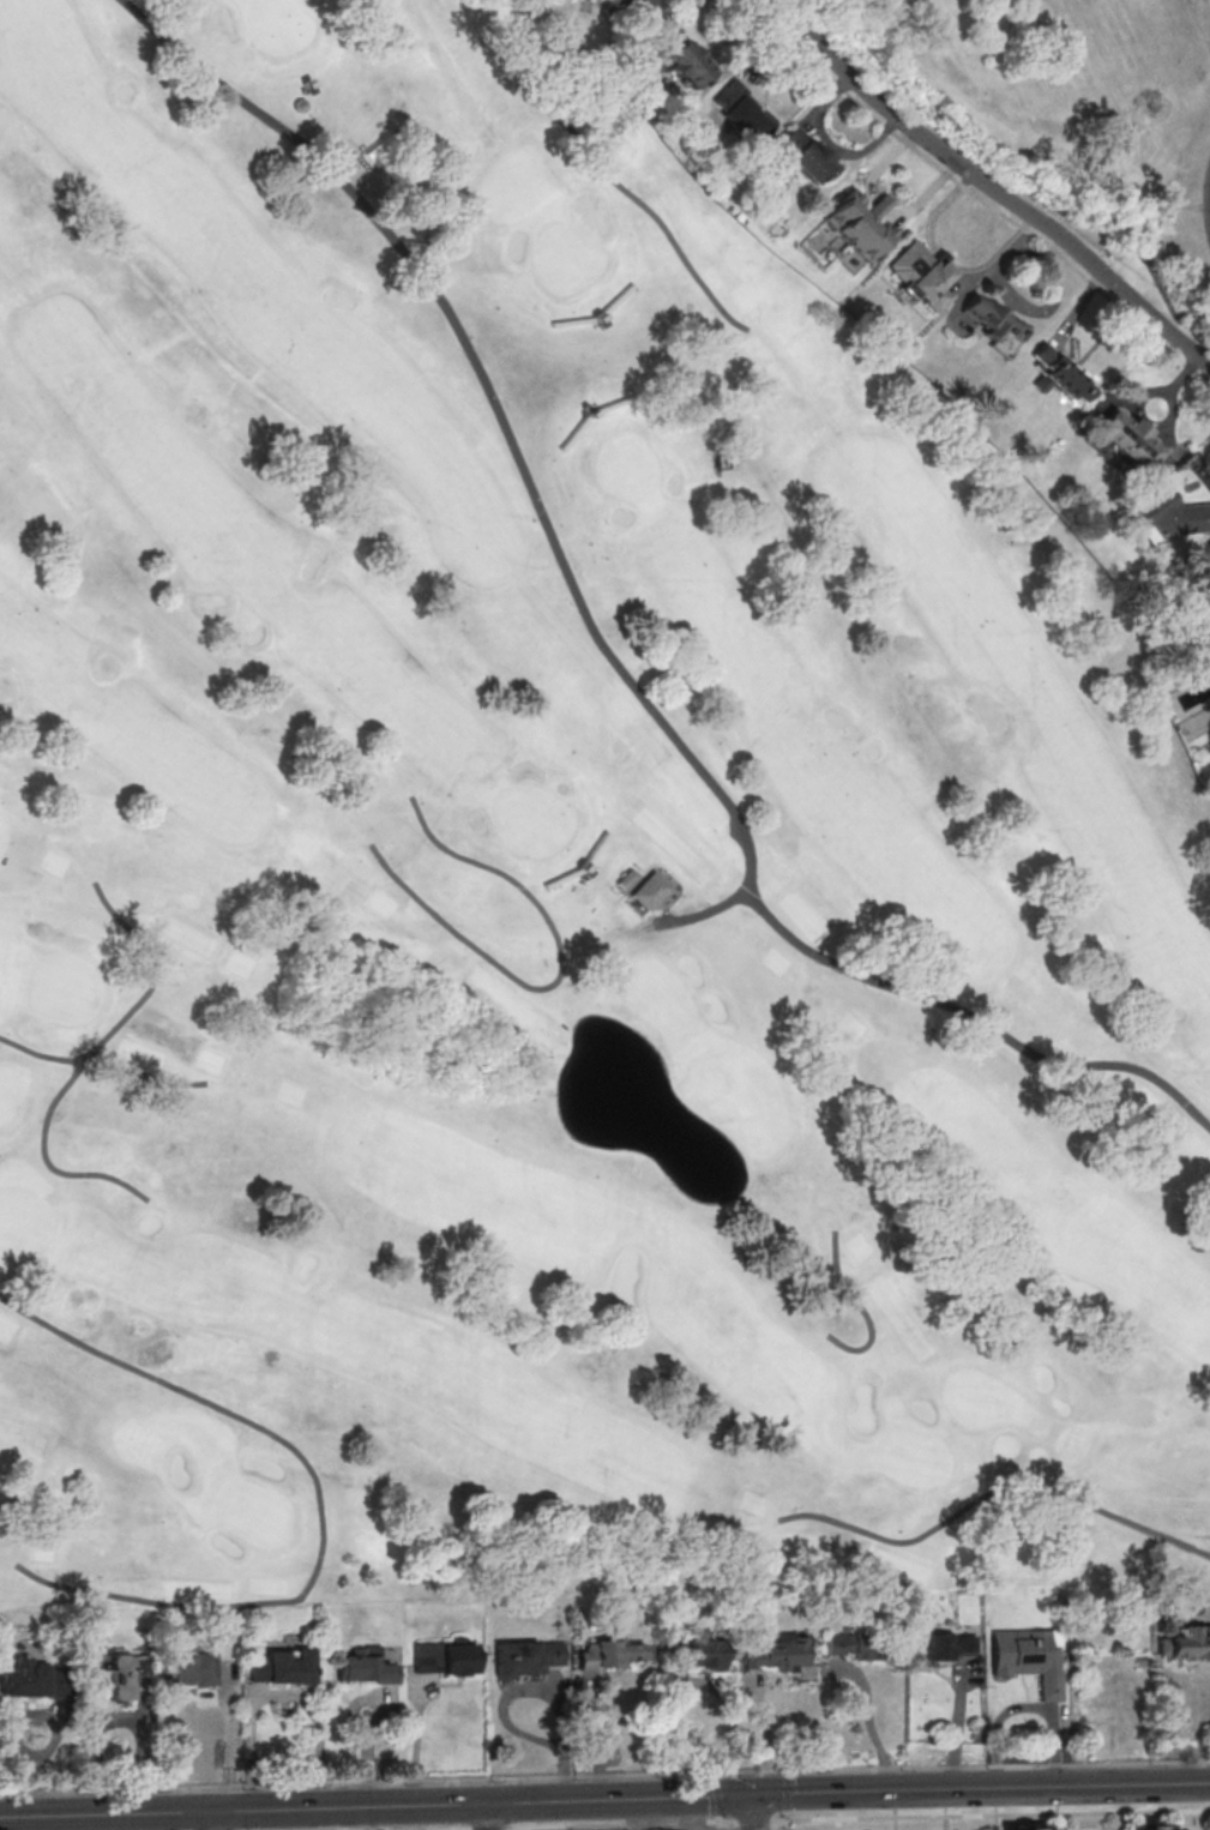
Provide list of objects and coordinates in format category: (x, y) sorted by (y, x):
building: (633, 12)
park: (276, 23)
building: (687, 62)
park: (1065, 102)
building: (741, 113)
building: (807, 156)
road: (989, 187)
road: (979, 198)
building: (860, 223)
park: (565, 257)
building: (922, 273)
building: (995, 324)
building: (1059, 374)
building: (1130, 439)
park: (627, 465)
building: (1172, 516)
building: (1208, 554)
park: (531, 818)
park: (546, 885)
park: (65, 988)
park: (656, 991)
park: (5, 1103)
park: (18, 1218)
park: (556, 1274)
park: (977, 1398)
park: (914, 1453)
park: (257, 1512)
building: (856, 1642)
building: (1185, 1642)
building: (940, 1644)
building: (779, 1653)
building: (609, 1654)
building: (450, 1655)
building: (530, 1655)
building: (702, 1655)
building: (1027, 1655)
building: (285, 1666)
building: (366, 1666)
building: (193, 1668)
building: (108, 1673)
building: (35, 1678)
road: (694, 1681)
road: (532, 1686)
road: (604, 1777)
road: (981, 1786)
traffic signals: (753, 1792)
road: (700, 1794)
road: (323, 1807)
road: (753, 1811)
road: (992, 1813)
road: (493, 1816)
road: (757, 1819)
road: (217, 1820)
road: (622, 1823)
road: (724, 1825)
building: (1154, 1826)
road: (492, 1828)
building: (1030, 1828)
road: (452, 1829)

